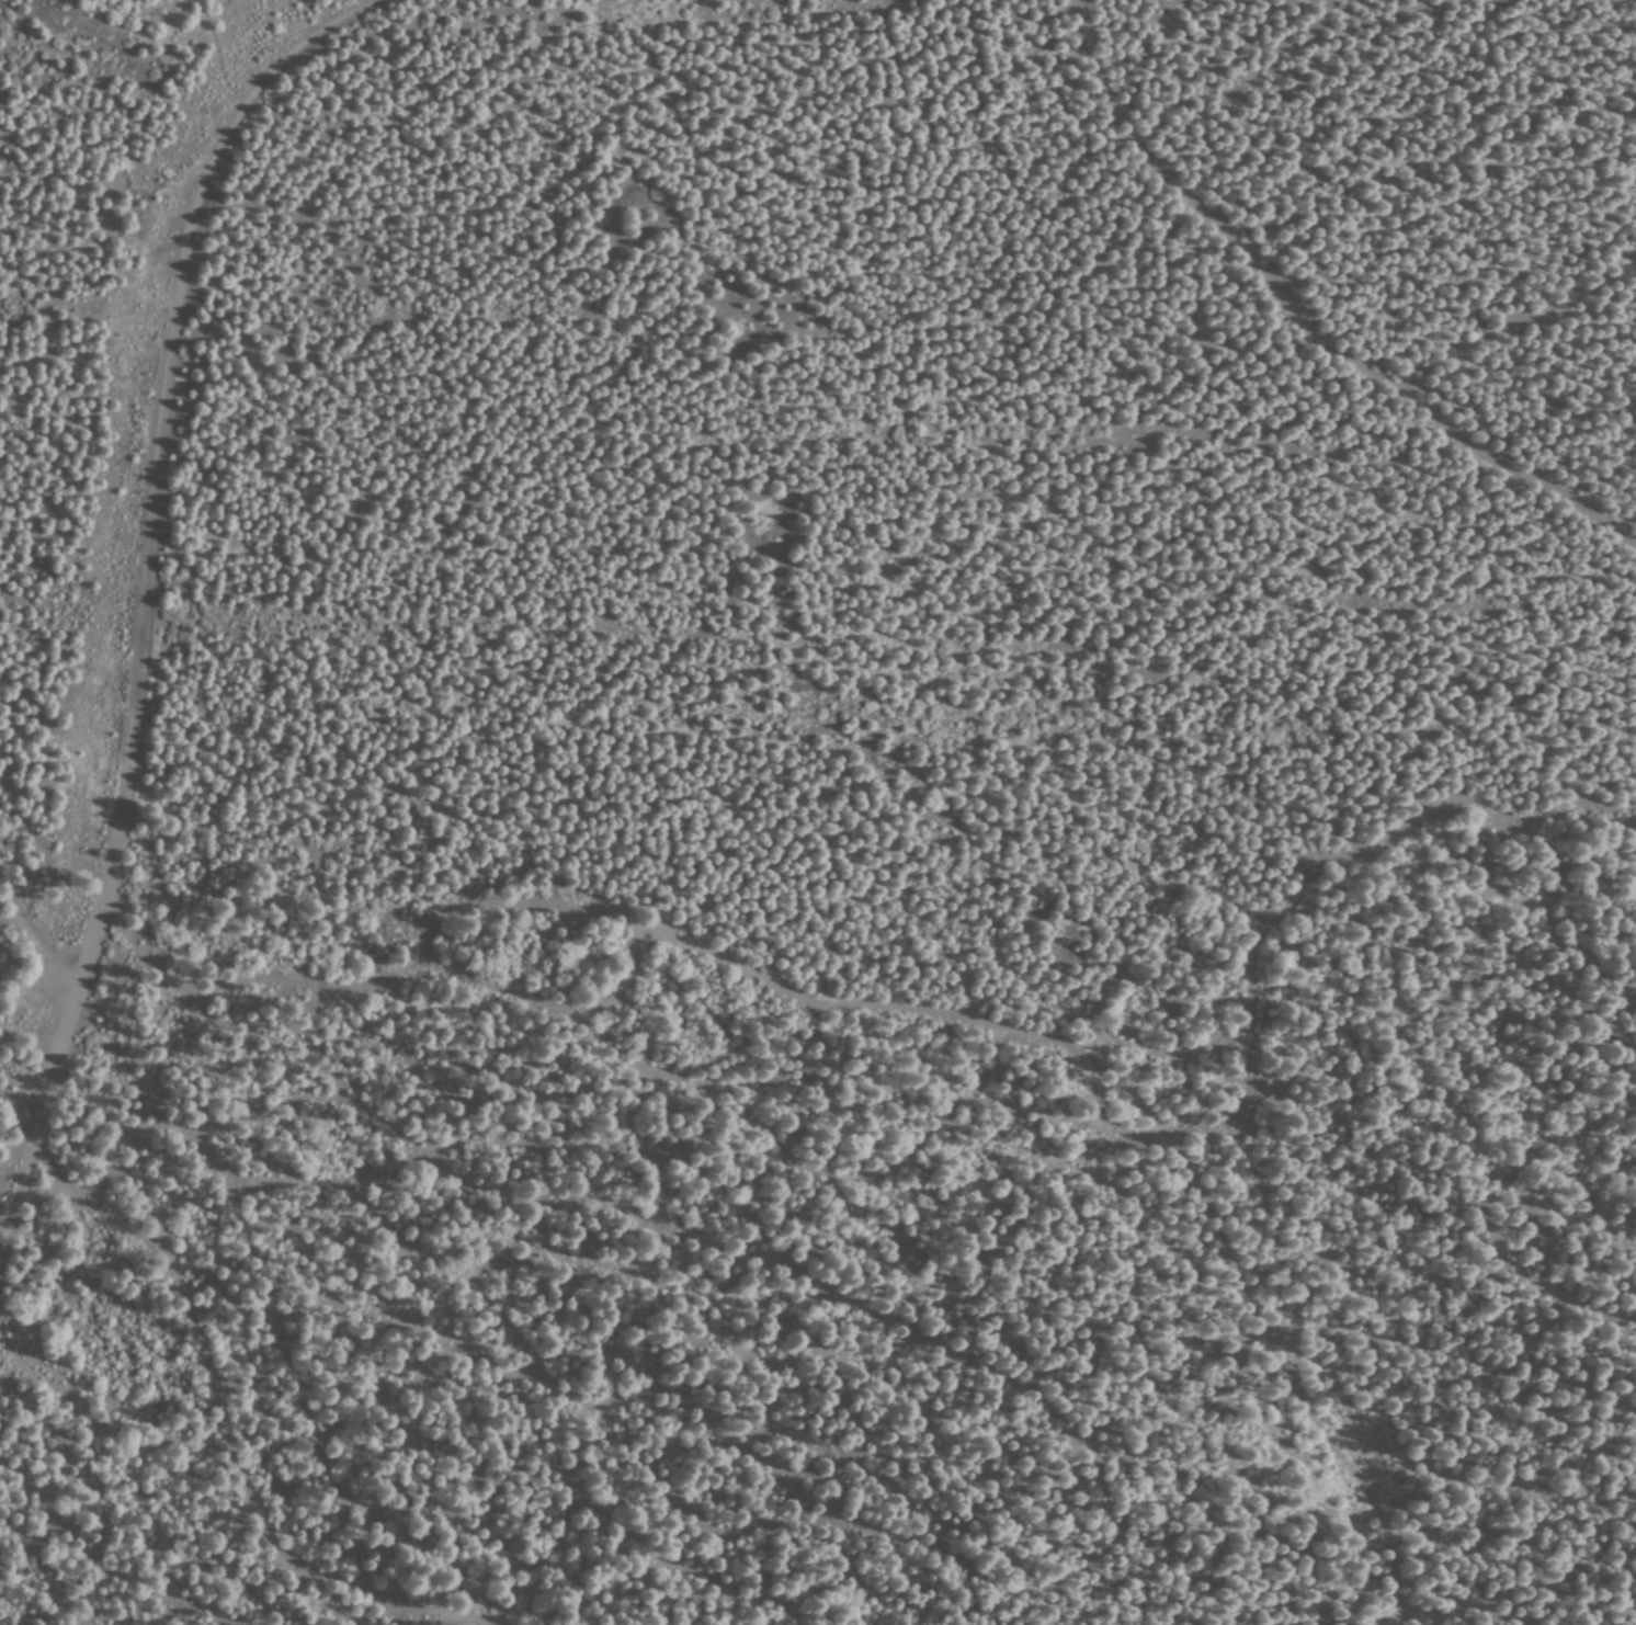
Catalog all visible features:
road: (141, 603)

